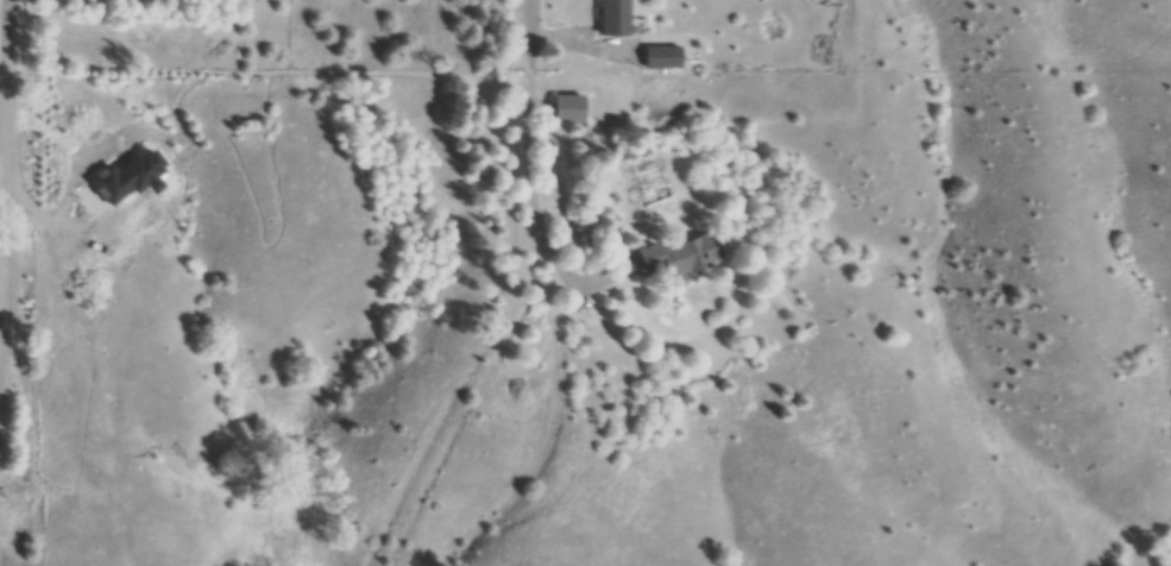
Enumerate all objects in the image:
building: (616, 18)
road: (522, 29)
building: (666, 58)
road: (4, 99)
building: (572, 109)
road: (524, 201)
road: (10, 241)
building: (684, 257)

